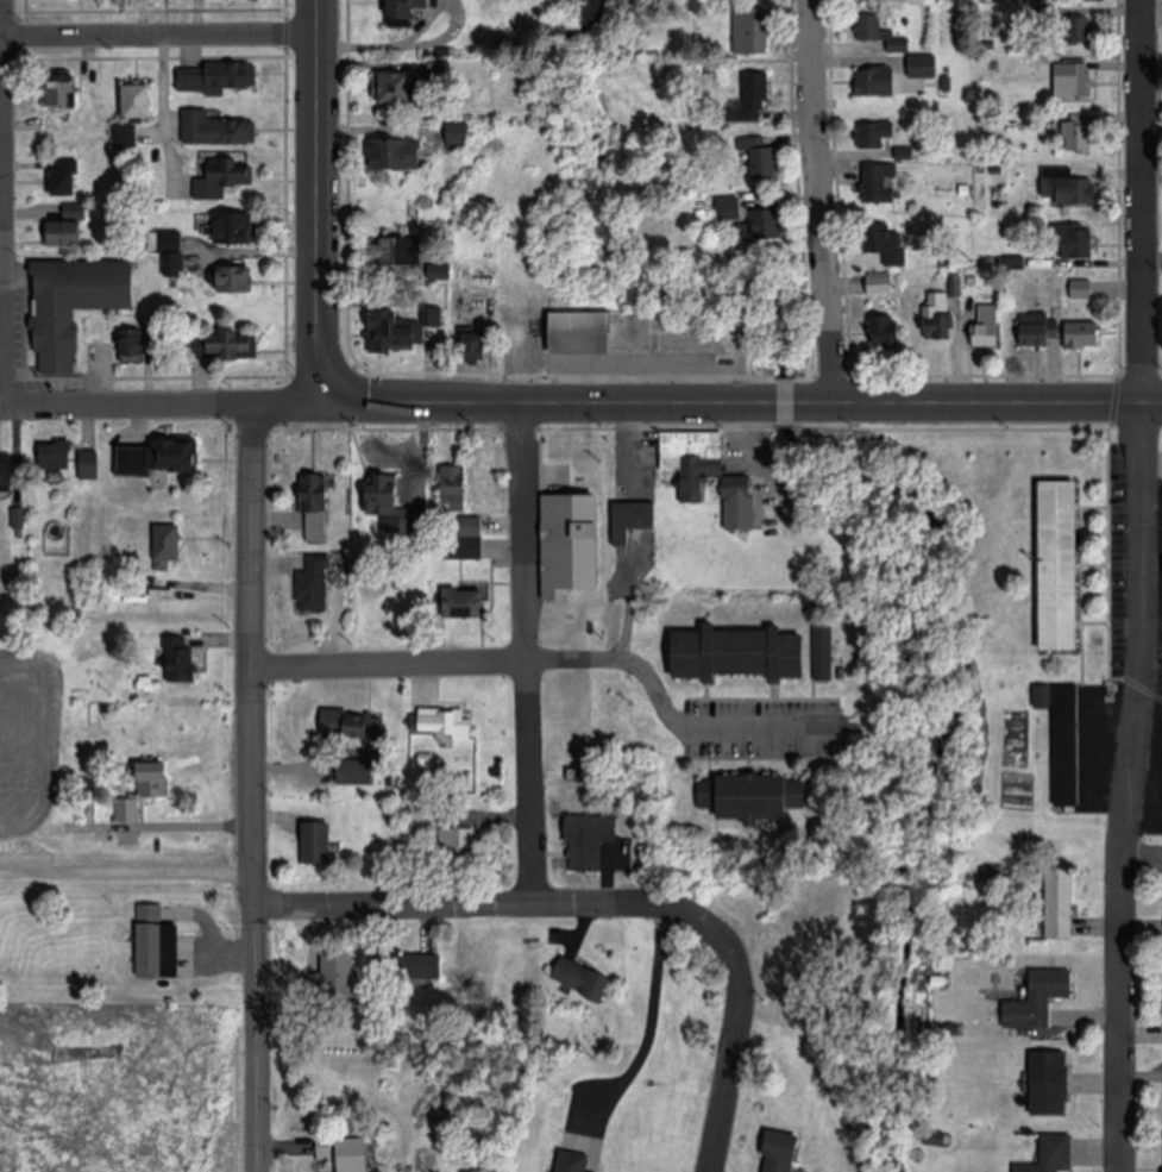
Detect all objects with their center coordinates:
building: (404, 11)
building: (1081, 30)
building: (753, 31)
road: (157, 33)
building: (883, 33)
road: (0, 43)
building: (924, 65)
building: (213, 80)
building: (1075, 81)
building: (875, 82)
building: (398, 88)
building: (59, 94)
building: (753, 100)
building: (138, 102)
building: (215, 130)
building: (875, 136)
building: (125, 137)
building: (1079, 137)
building: (397, 155)
building: (762, 158)
building: (67, 178)
building: (222, 178)
building: (880, 182)
building: (1068, 188)
road: (822, 200)
road: (1138, 202)
road: (316, 203)
building: (733, 209)
building: (764, 226)
building: (234, 228)
building: (65, 233)
building: (1079, 242)
building: (888, 244)
building: (396, 252)
building: (235, 280)
building: (75, 306)
building: (940, 316)
building: (887, 332)
building: (392, 334)
building: (584, 334)
building: (1037, 336)
building: (987, 338)
building: (1086, 340)
building: (134, 345)
building: (476, 346)
building: (224, 347)
road: (1, 393)
road: (745, 402)
road: (124, 406)
road: (288, 407)
building: (55, 456)
building: (158, 457)
building: (89, 465)
building: (8, 471)
building: (708, 477)
building: (452, 489)
building: (316, 509)
building: (398, 513)
building: (632, 520)
building: (167, 546)
building: (570, 550)
building: (1064, 566)
building: (312, 589)
building: (463, 608)
building: (824, 651)
road: (526, 653)
building: (741, 653)
building: (182, 659)
road: (555, 660)
building: (441, 722)
building: (351, 725)
building: (1064, 738)
building: (356, 770)
road: (1130, 788)
road: (251, 789)
building: (758, 797)
building: (126, 809)
building: (586, 840)
building: (316, 842)
road: (1142, 857)
road: (121, 865)
road: (552, 900)
building: (1062, 904)
building: (155, 946)
building: (409, 967)
building: (339, 976)
building: (582, 978)
building: (1042, 999)
road: (654, 1021)
building: (1053, 1084)
road: (721, 1110)
building: (325, 1149)
building: (780, 1152)
building: (356, 1155)
building: (1056, 1155)
building: (571, 1161)

